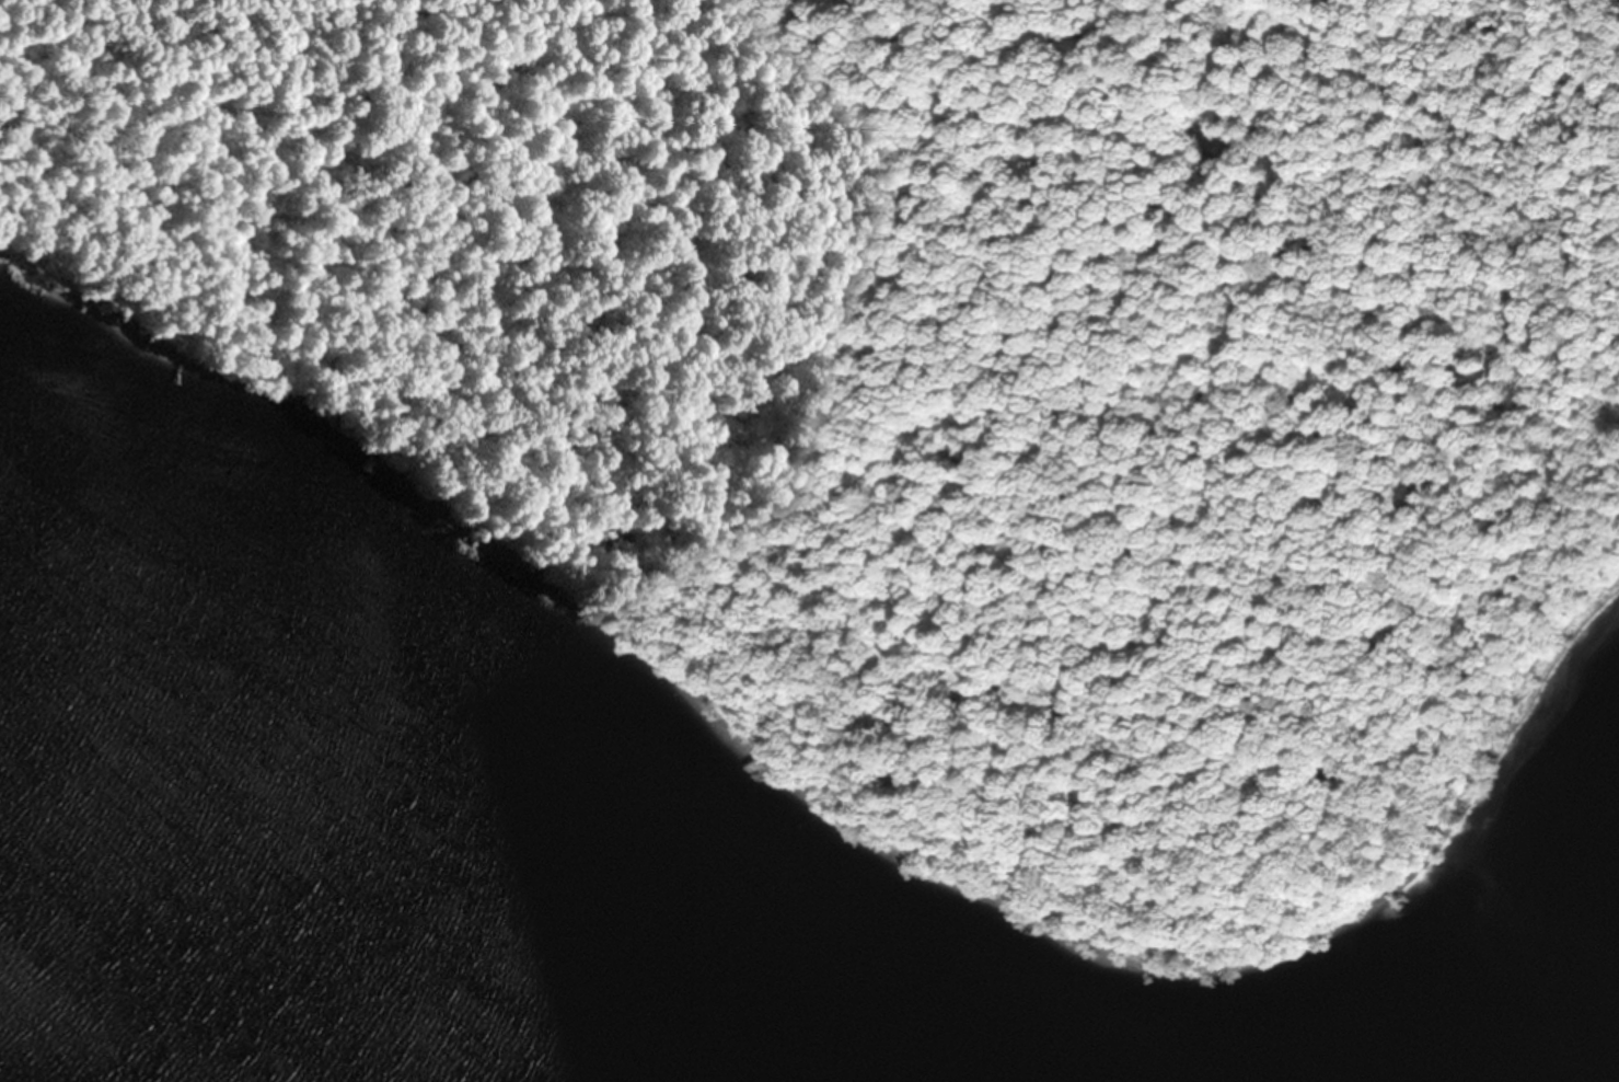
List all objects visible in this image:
river: (25, 1067)

